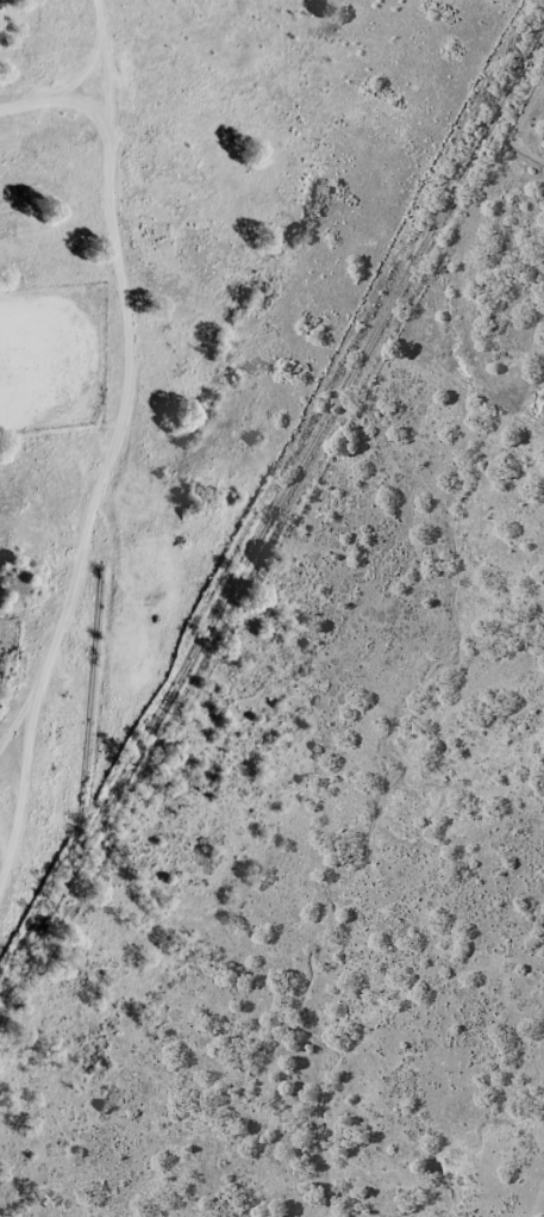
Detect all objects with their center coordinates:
road: (54, 97)
road: (112, 445)
railway: (271, 528)
railway: (87, 758)

